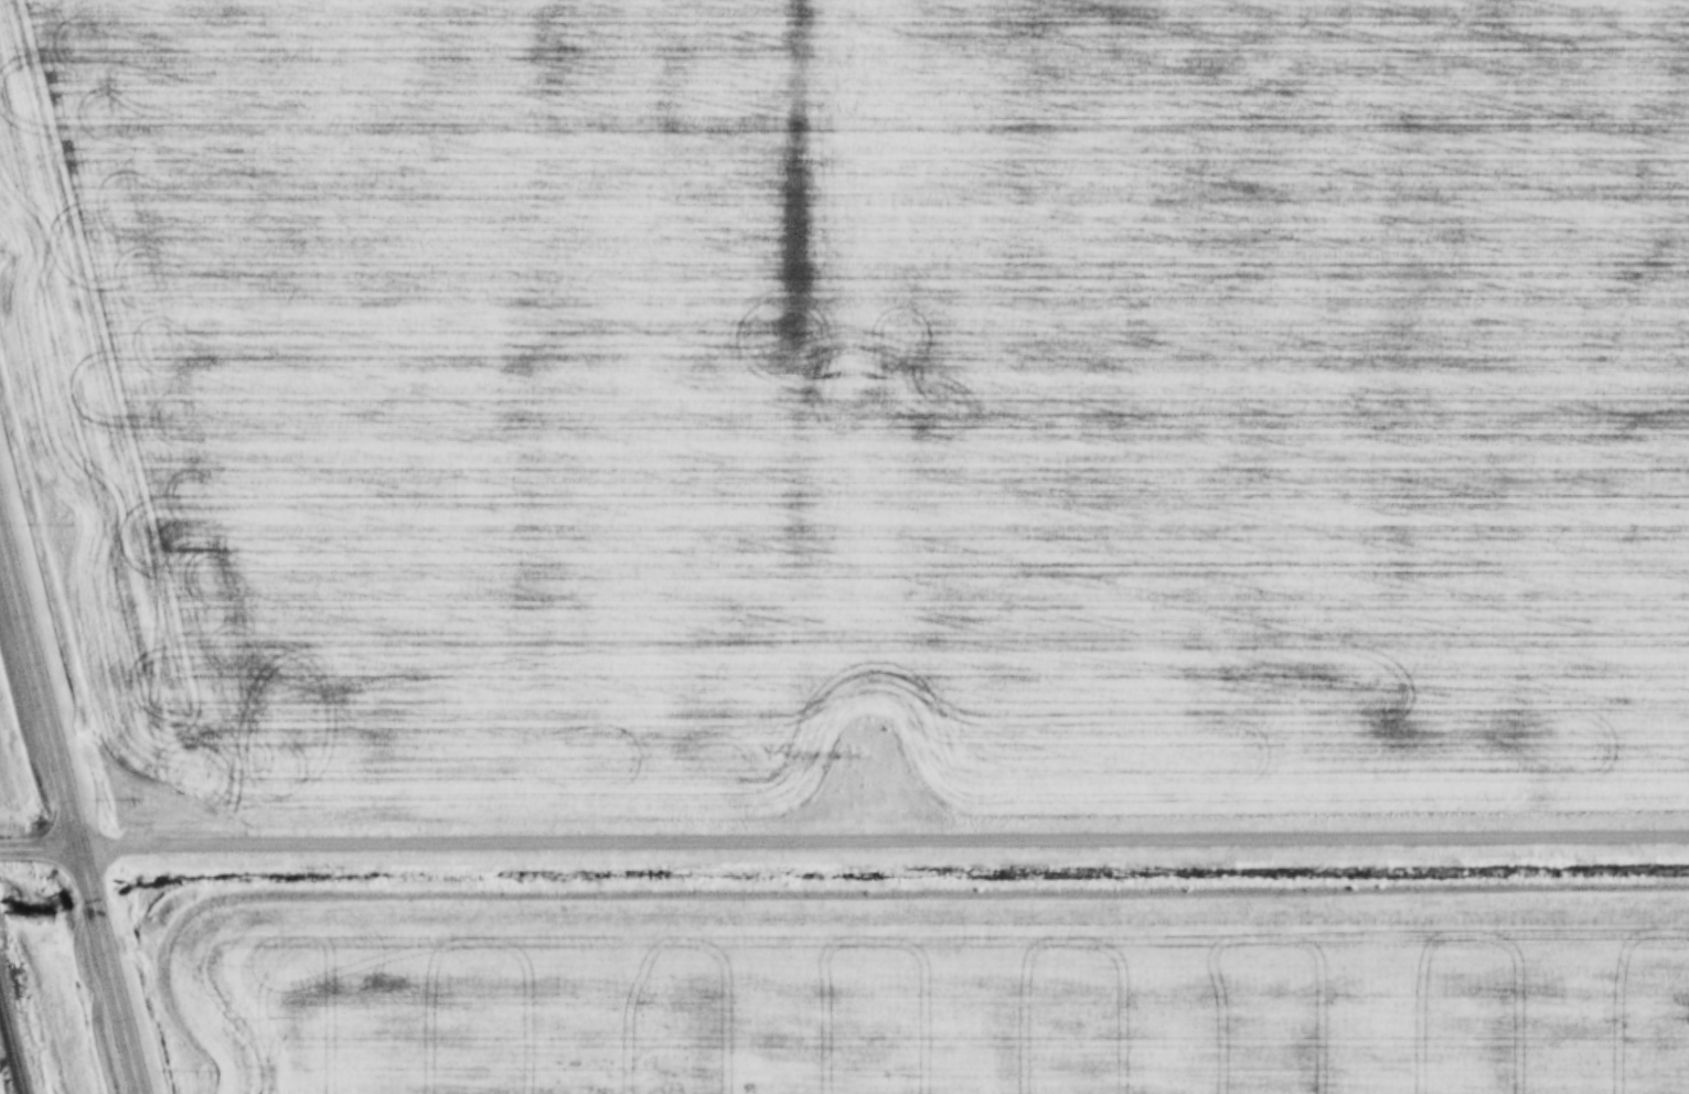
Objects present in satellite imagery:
power tower: (845, 373)
road: (35, 699)
power tower: (855, 751)
road: (879, 835)
road: (35, 846)
road: (114, 967)
railway: (10, 1053)

